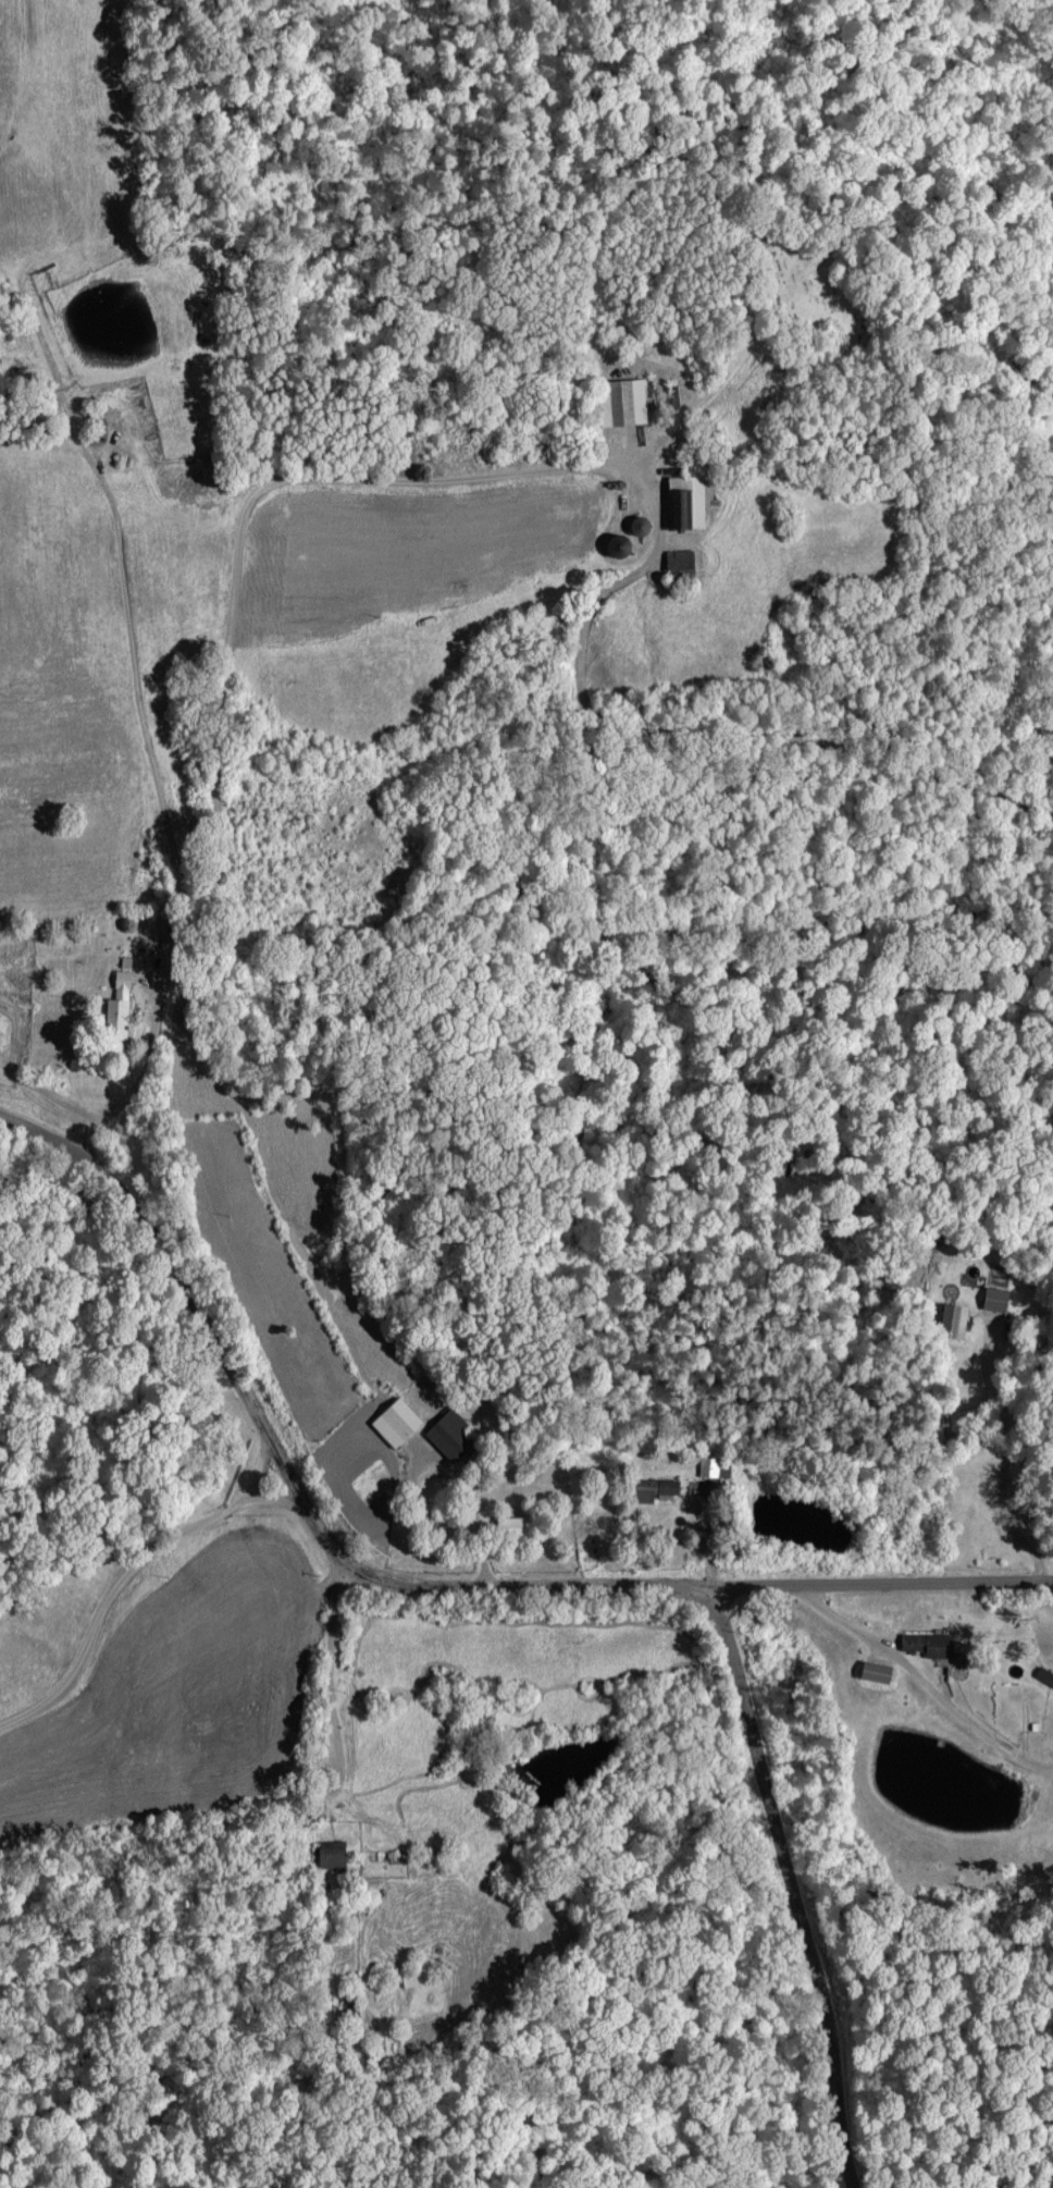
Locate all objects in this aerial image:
building: (622, 401)
building: (684, 502)
road: (256, 521)
building: (679, 558)
building: (119, 1007)
building: (995, 1299)
building: (957, 1322)
building: (396, 1422)
building: (450, 1436)
road: (447, 1460)
road: (1003, 1460)
building: (709, 1466)
building: (655, 1489)
building: (511, 1525)
road: (402, 1584)
building: (930, 1644)
building: (876, 1672)
road: (928, 1683)
road: (336, 1744)
building: (331, 1853)
road: (785, 1888)

